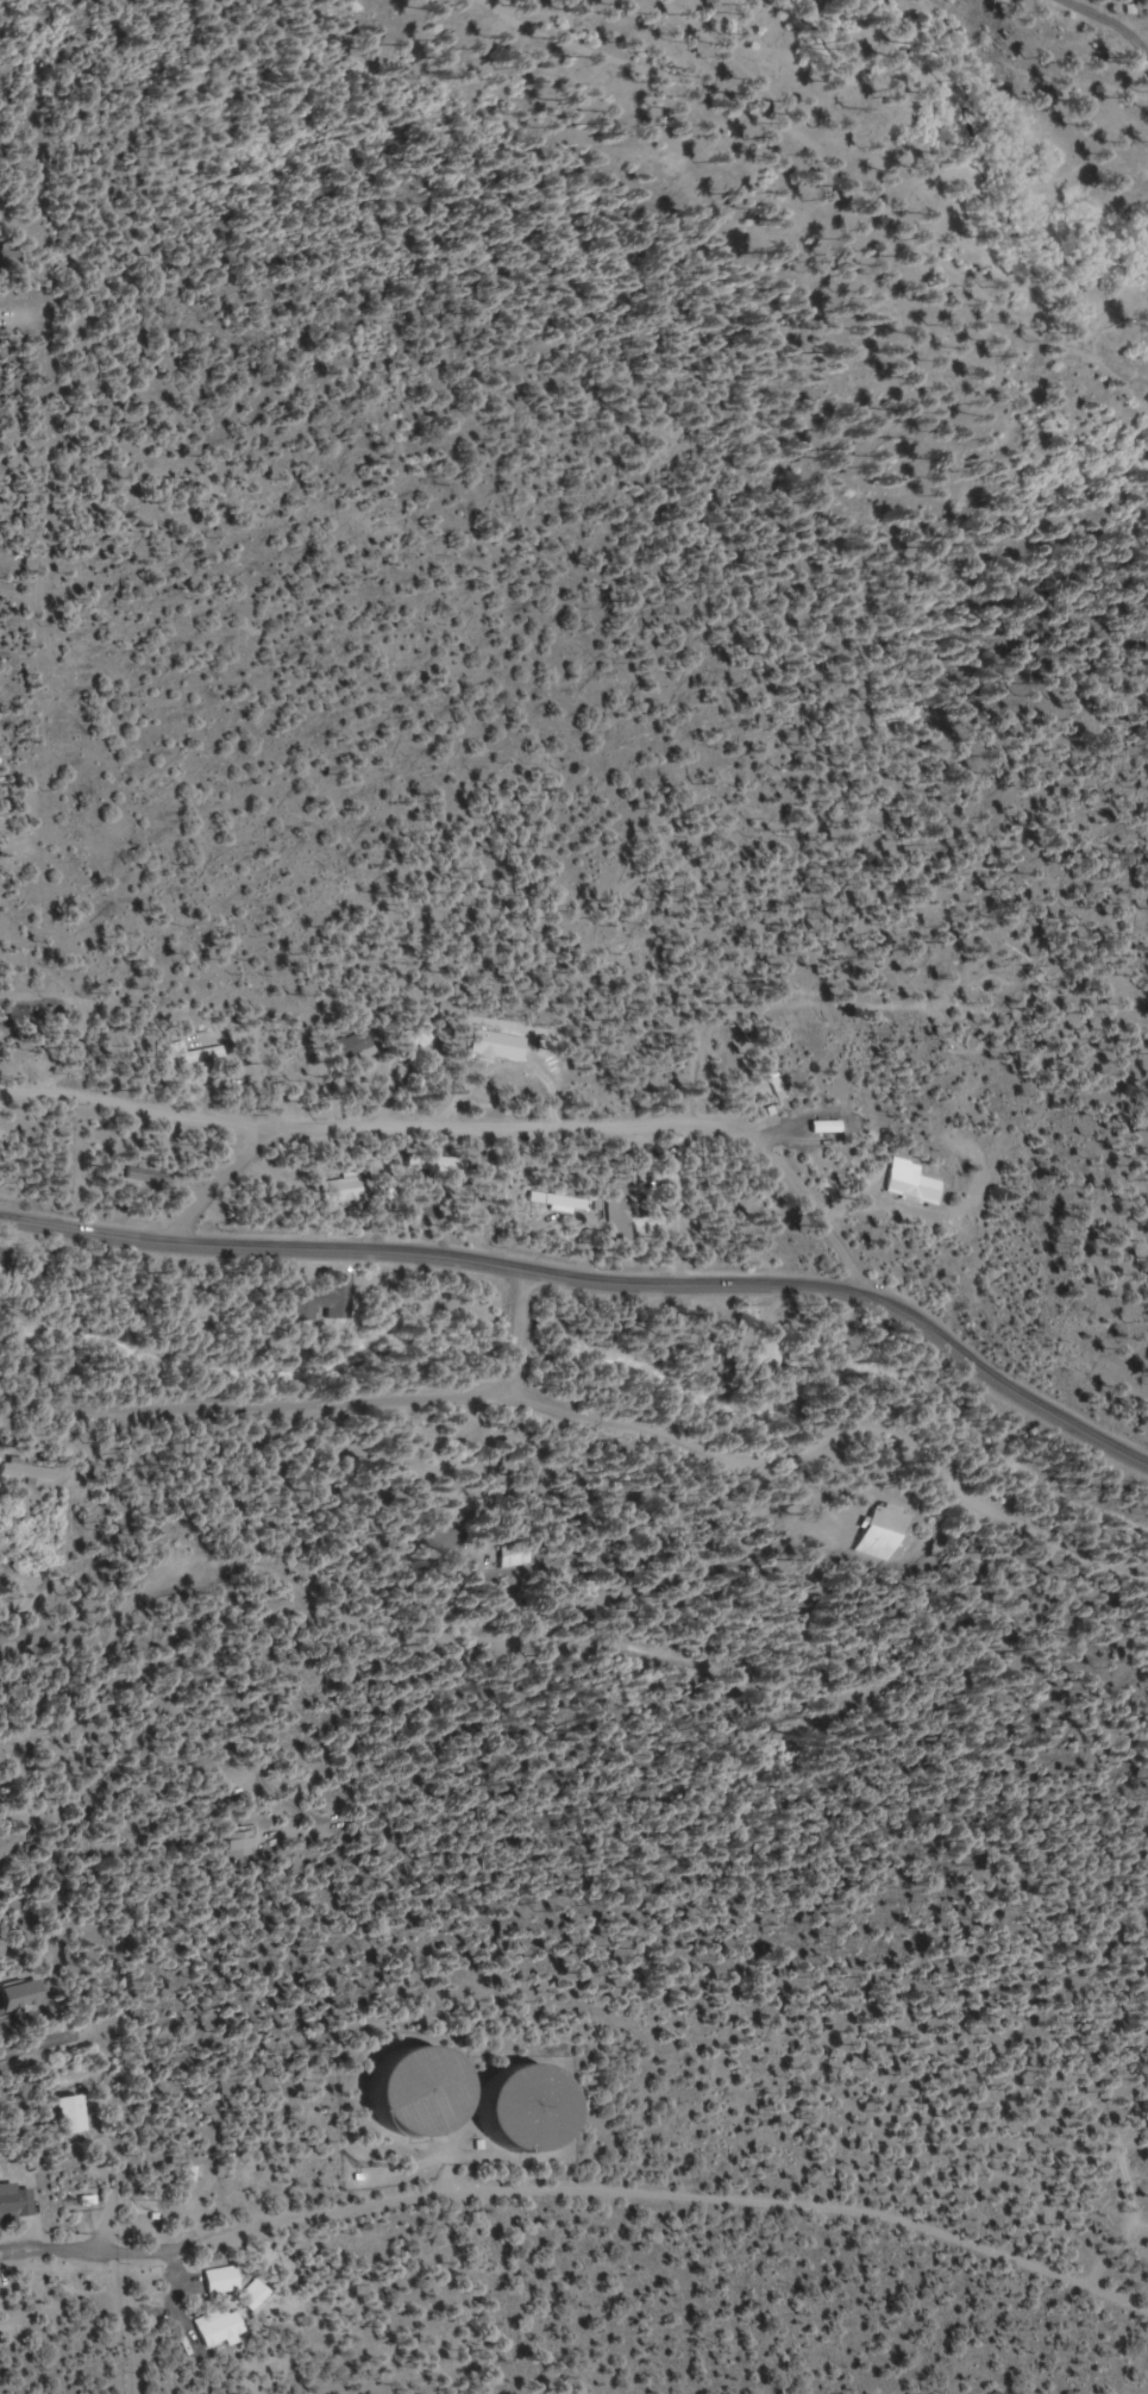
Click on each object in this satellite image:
building: (353, 1049)
building: (190, 1058)
road: (481, 1126)
building: (835, 1128)
building: (145, 1176)
building: (911, 1184)
road: (218, 1187)
building: (344, 1190)
building: (566, 1202)
building: (620, 1211)
building: (6, 1259)
road: (596, 1278)
building: (332, 1299)
road: (501, 1349)
building: (776, 1350)
road: (525, 1431)
building: (31, 1472)
building: (885, 1533)
building: (525, 1556)
building: (32, 1636)
road: (61, 1686)
road: (646, 1756)
road: (212, 1779)
building: (7, 1844)
building: (243, 1844)
road: (692, 1861)
road: (58, 2019)
building: (424, 2093)
water tower: (425, 2093)
water tower: (532, 2108)
building: (532, 2110)
building: (74, 2114)
road: (579, 2199)
building: (15, 2202)

